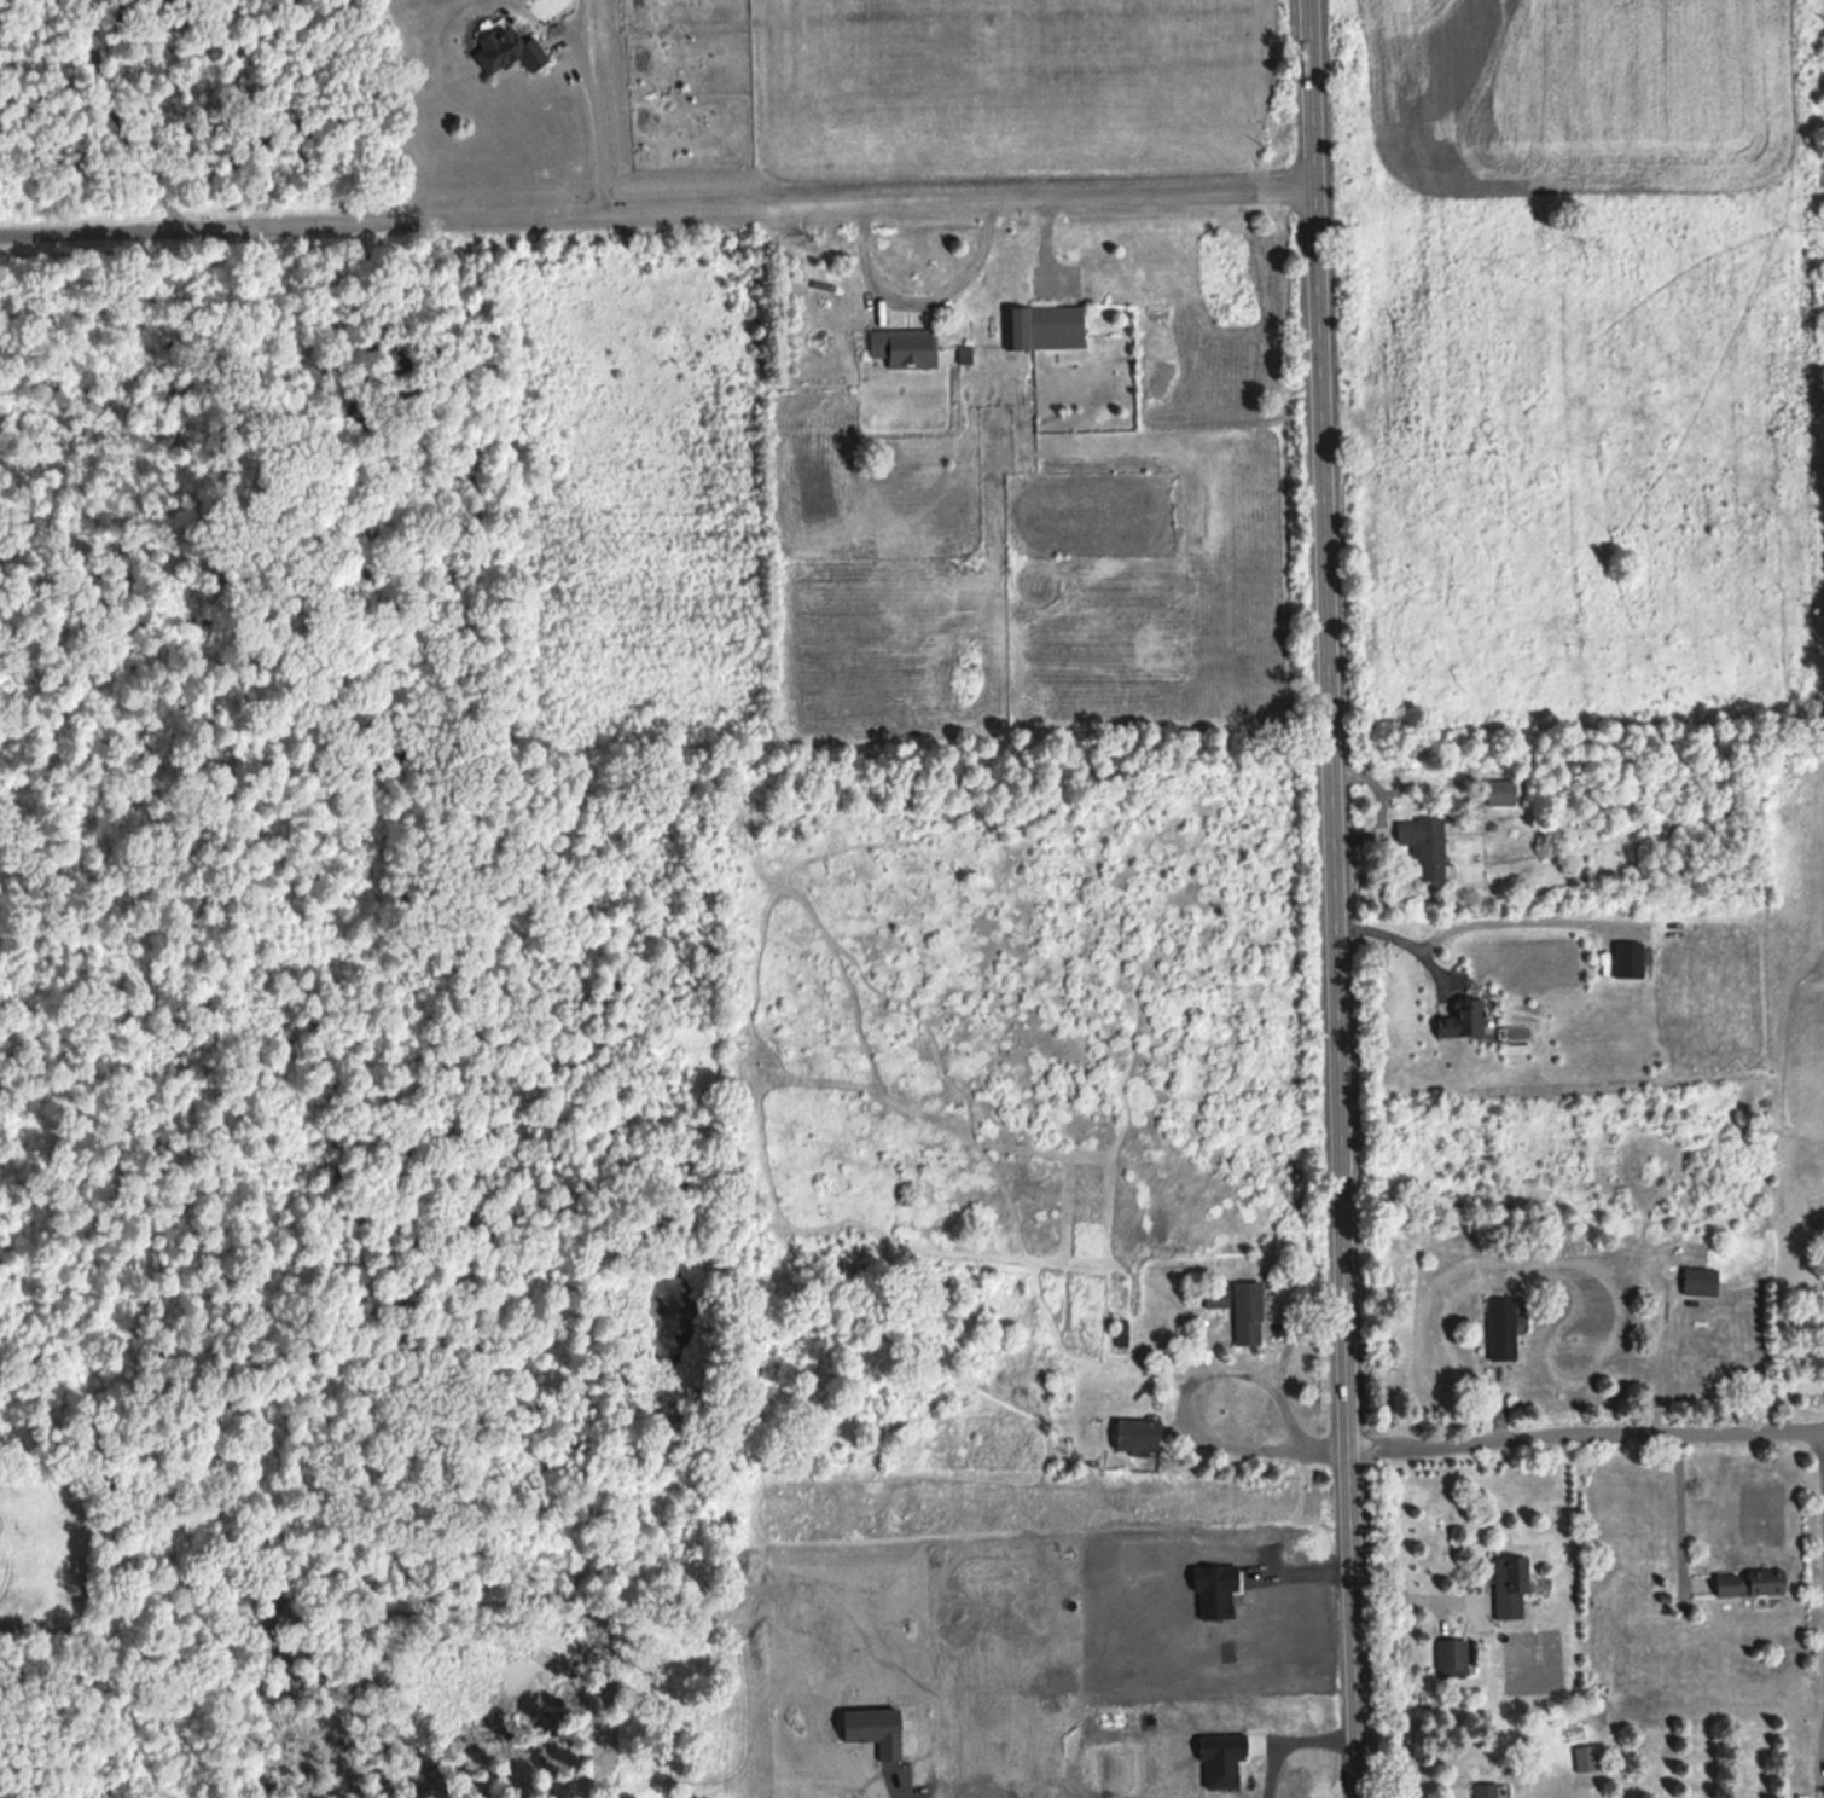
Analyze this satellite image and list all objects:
building: (507, 51)
road: (598, 115)
road: (118, 122)
road: (656, 211)
building: (1045, 327)
building: (904, 348)
building: (1501, 791)
building: (1425, 843)
road: (1335, 899)
road: (1529, 912)
road: (1401, 928)
building: (1631, 958)
building: (1466, 1019)
building: (1702, 1280)
building: (1218, 1295)
building: (1249, 1312)
building: (1503, 1328)
building: (1121, 1330)
road: (1187, 1399)
building: (1139, 1434)
road: (1586, 1438)
road: (1683, 1506)
building: (1753, 1583)
building: (1511, 1588)
road: (1417, 1596)
building: (1453, 1658)
building: (1587, 1758)
building: (1488, 1790)

